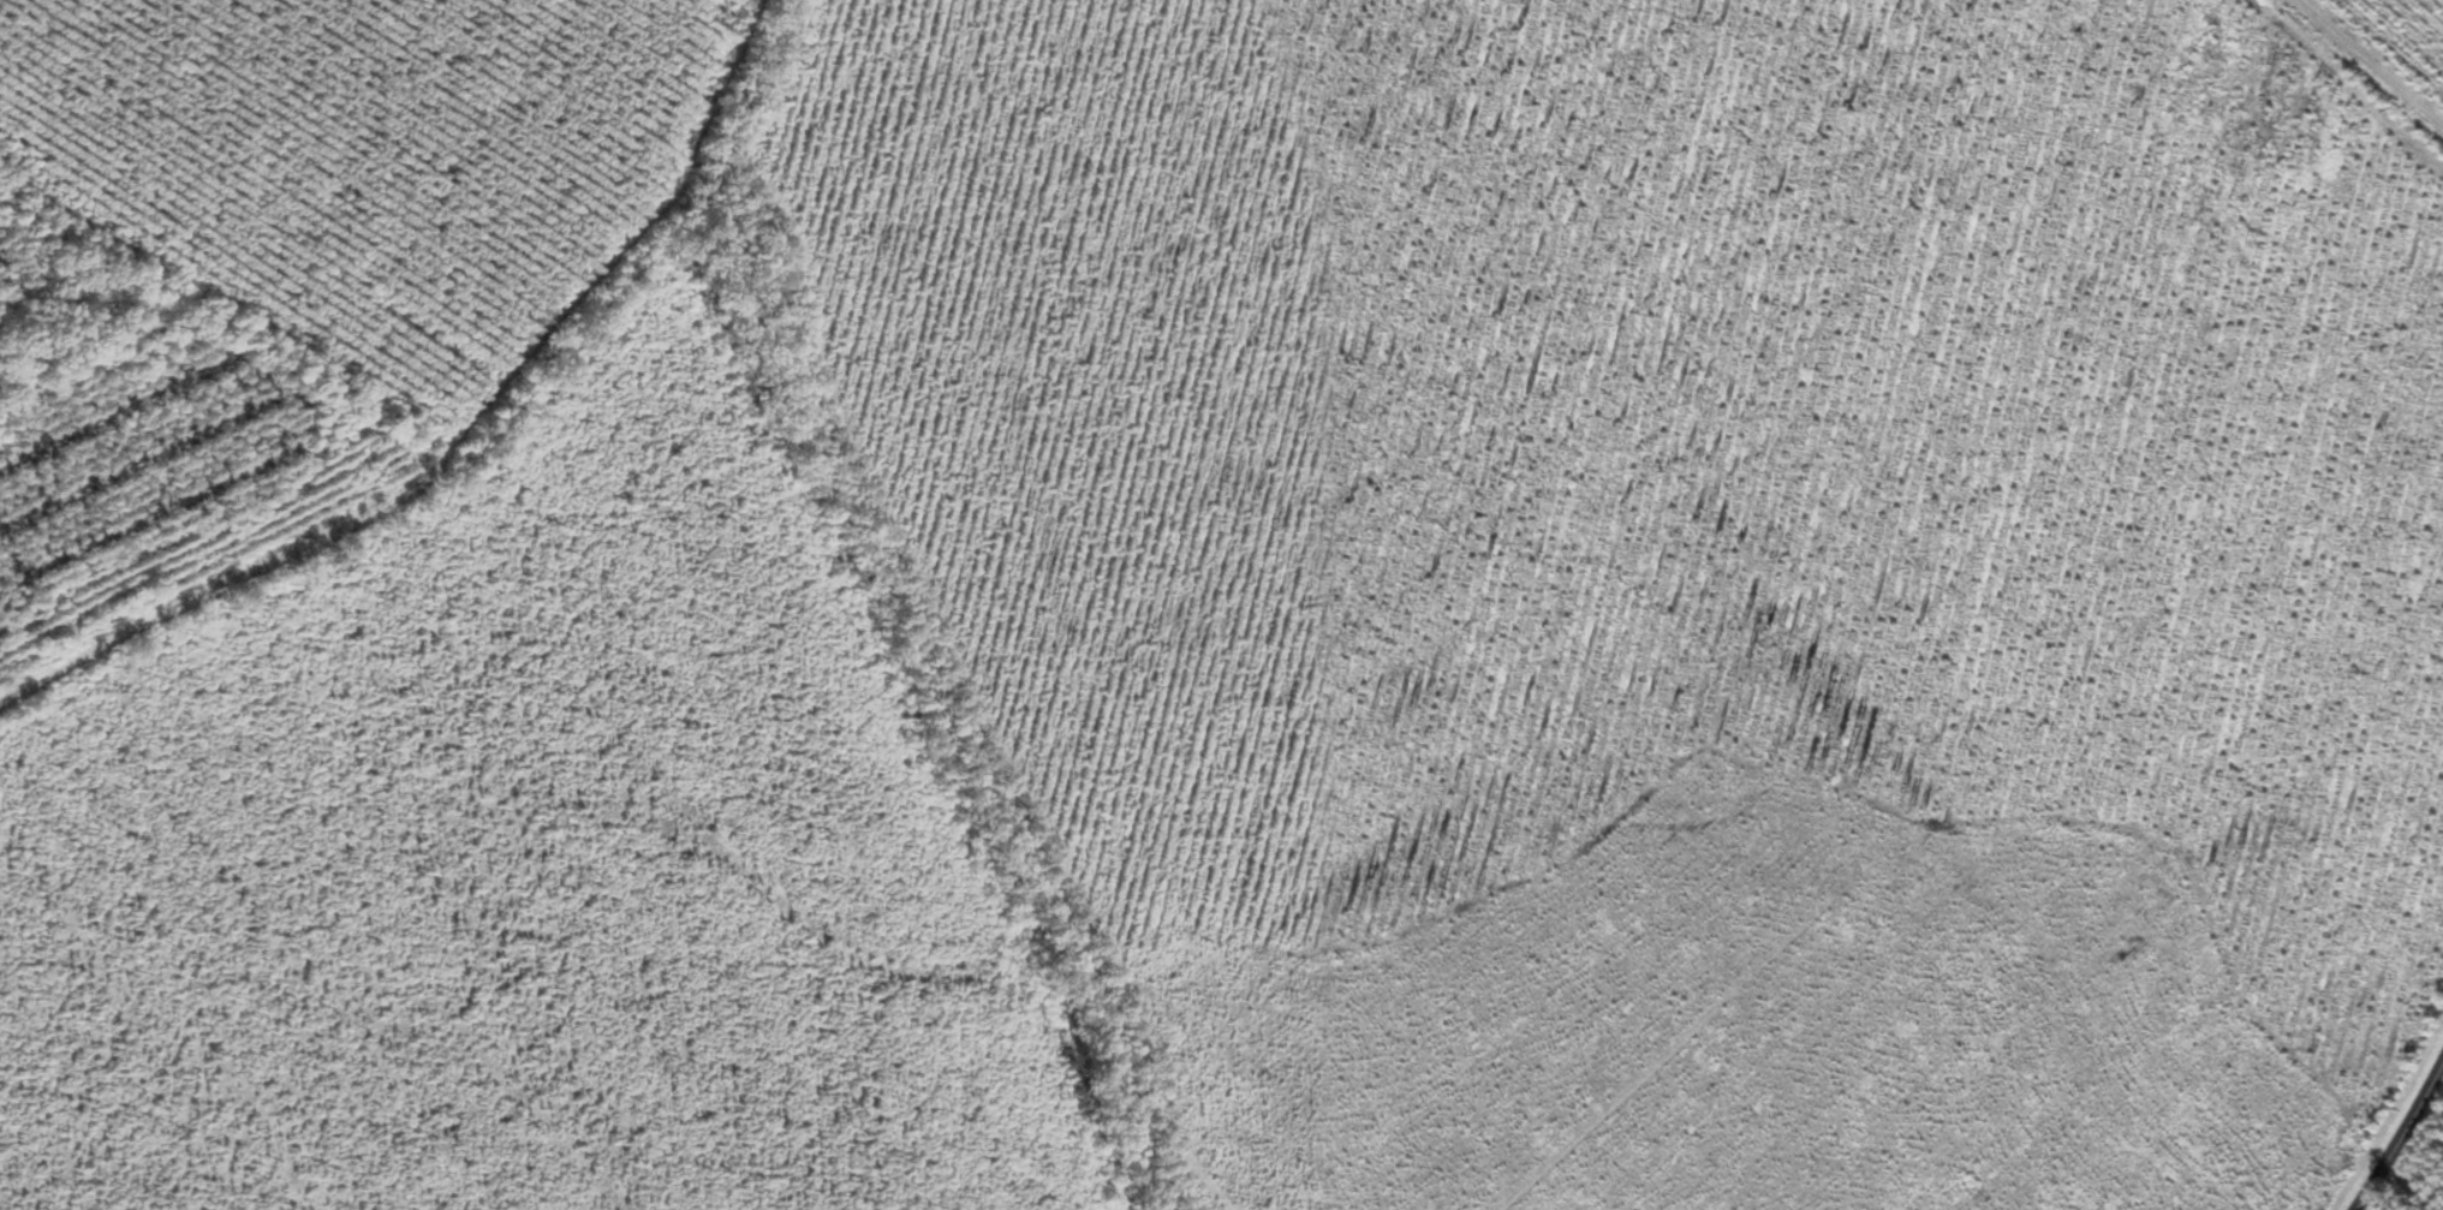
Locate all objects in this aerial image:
road: (2400, 1137)

